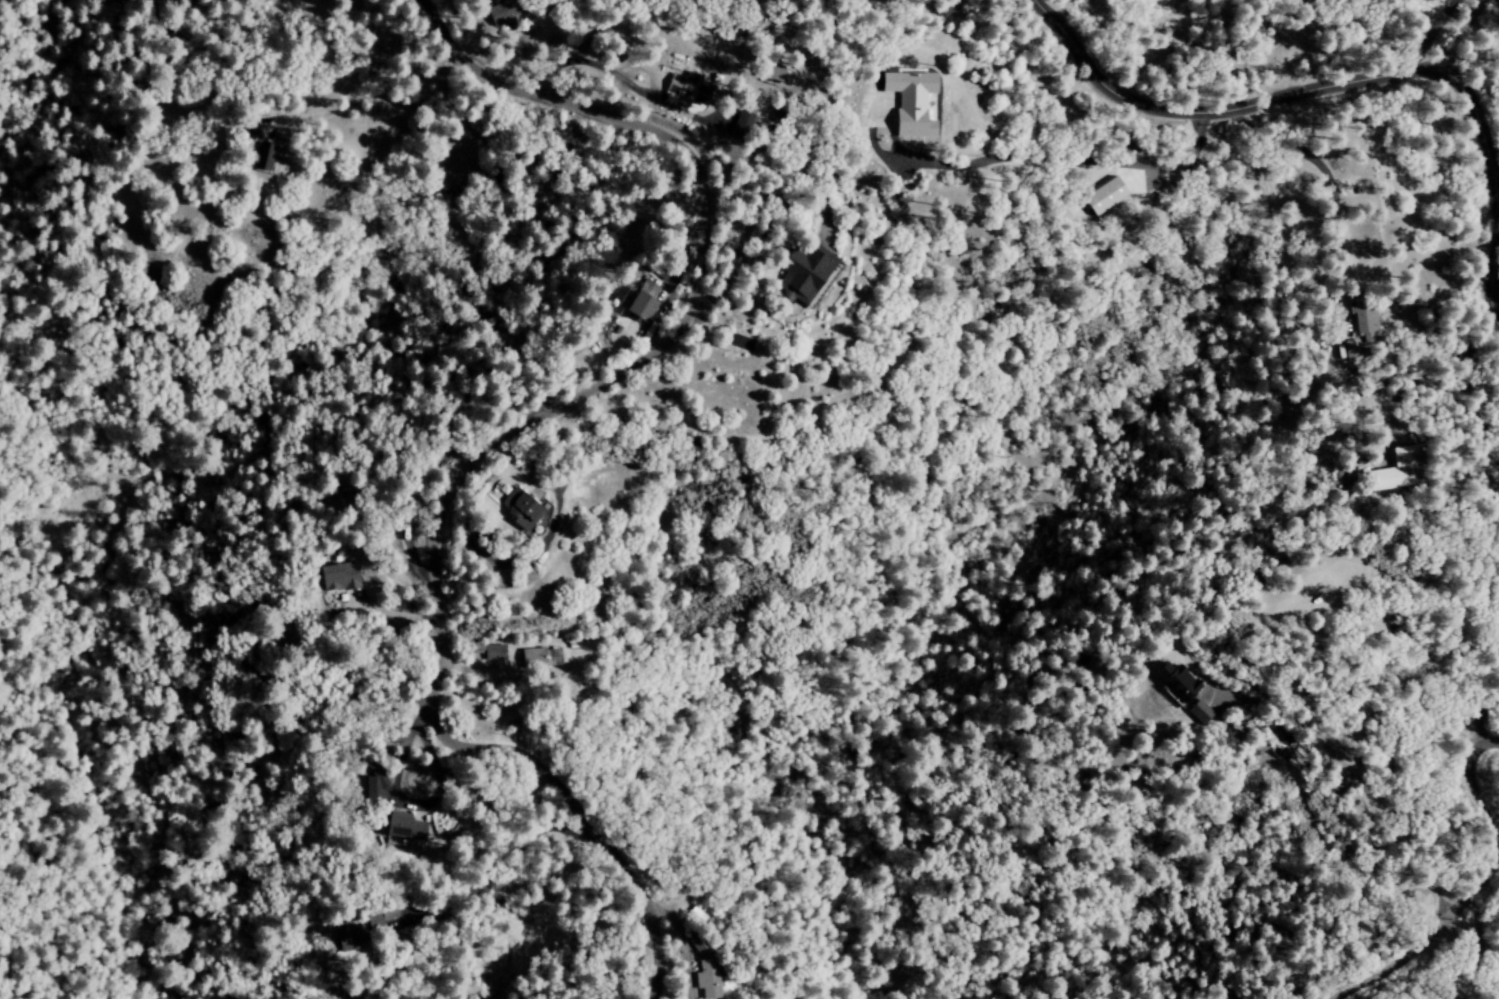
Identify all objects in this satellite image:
building: (501, 12)
road: (1459, 34)
building: (767, 73)
road: (1346, 85)
building: (682, 90)
road: (364, 94)
building: (911, 102)
building: (738, 126)
building: (263, 157)
building: (1103, 196)
building: (801, 272)
road: (1332, 296)
building: (640, 301)
building: (1365, 325)
road: (502, 438)
building: (1398, 471)
building: (519, 509)
building: (339, 577)
building: (478, 649)
building: (494, 652)
building: (540, 659)
building: (1176, 684)
building: (1199, 712)
road: (1361, 784)
road: (1472, 788)
building: (375, 789)
building: (404, 827)
building: (376, 923)
building: (350, 937)
road: (1432, 941)
building: (708, 978)

